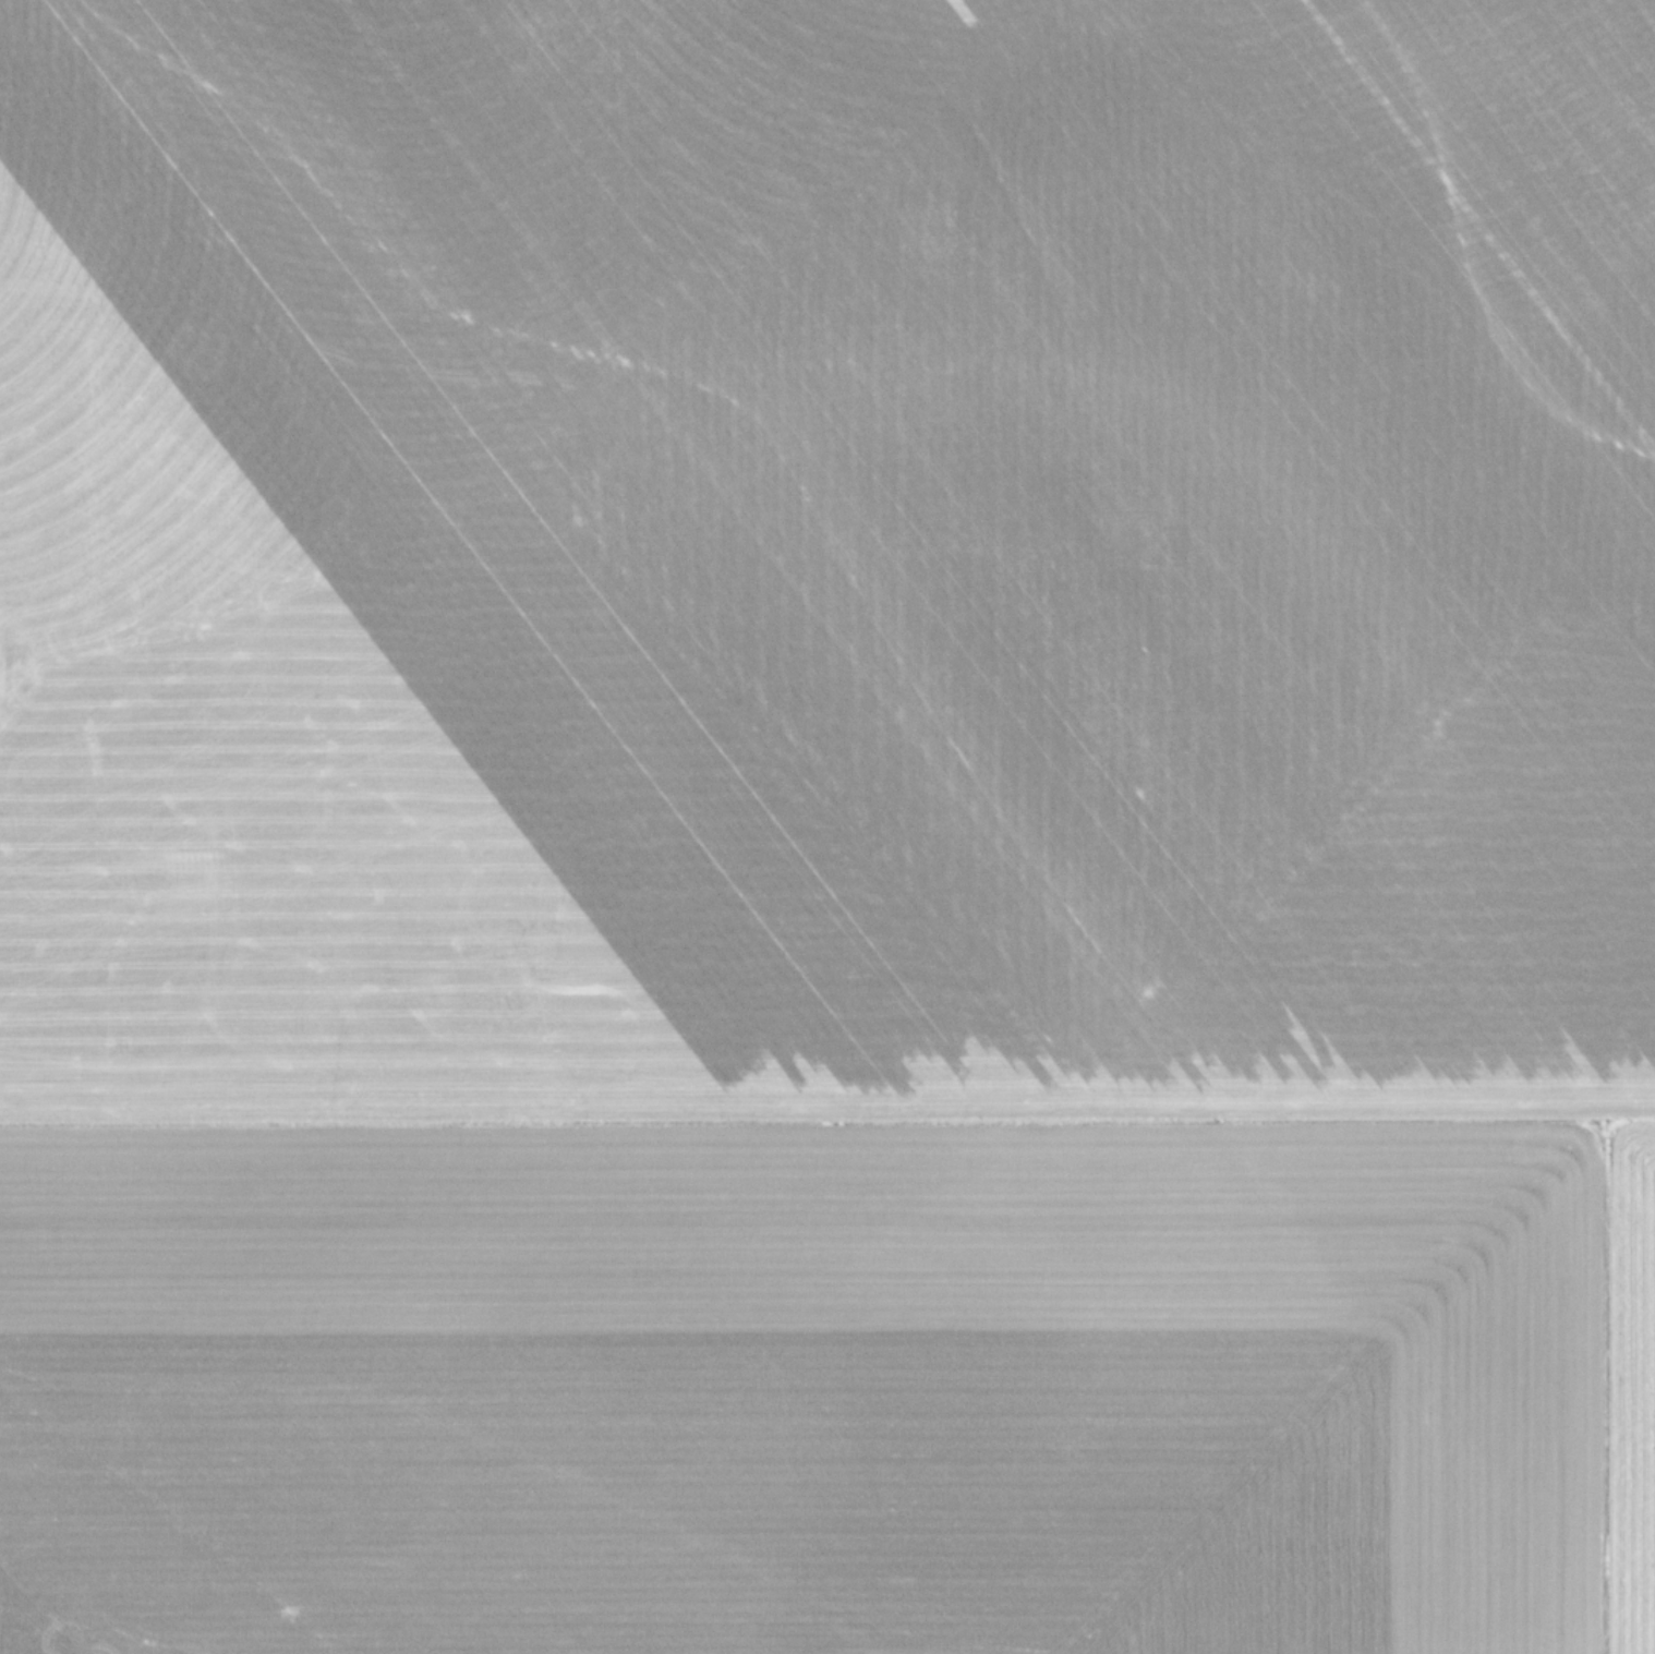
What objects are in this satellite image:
crop: (827, 826)

